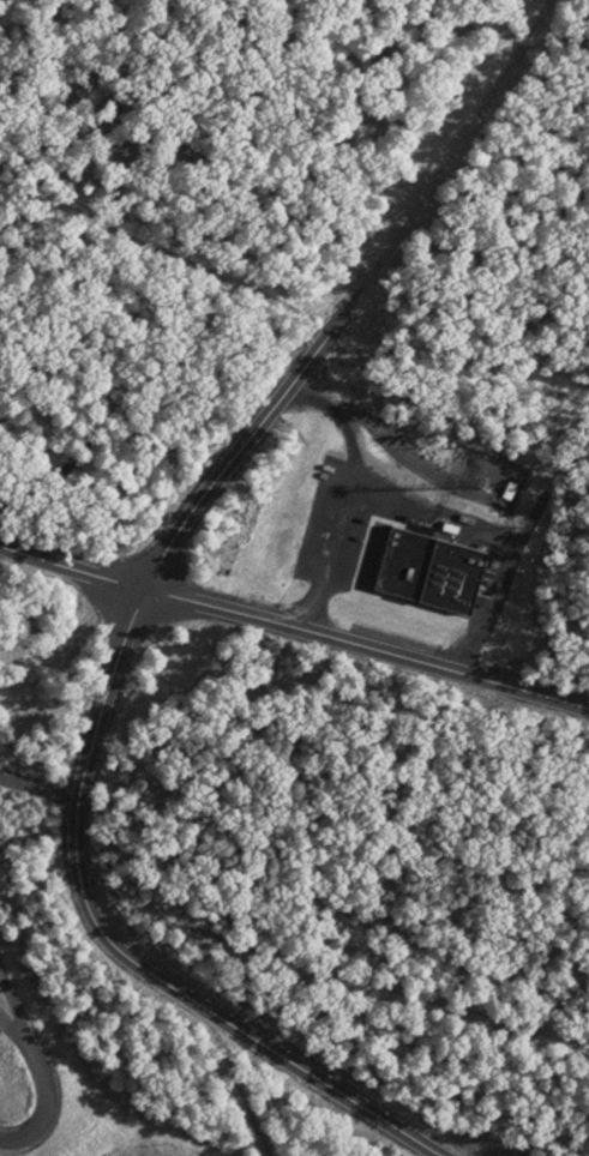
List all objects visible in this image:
road: (450, 155)
road: (513, 531)
road: (341, 556)
building: (439, 561)
road: (293, 621)
road: (79, 793)
road: (18, 1029)
road: (38, 1056)

